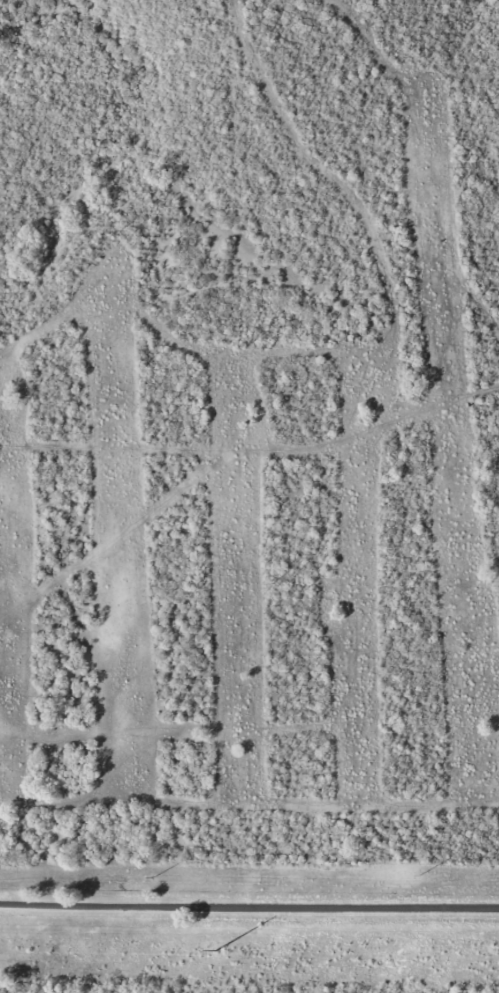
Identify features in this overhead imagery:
power tower: (419, 874)
power tower: (152, 876)
road: (249, 907)
power tower: (214, 950)

